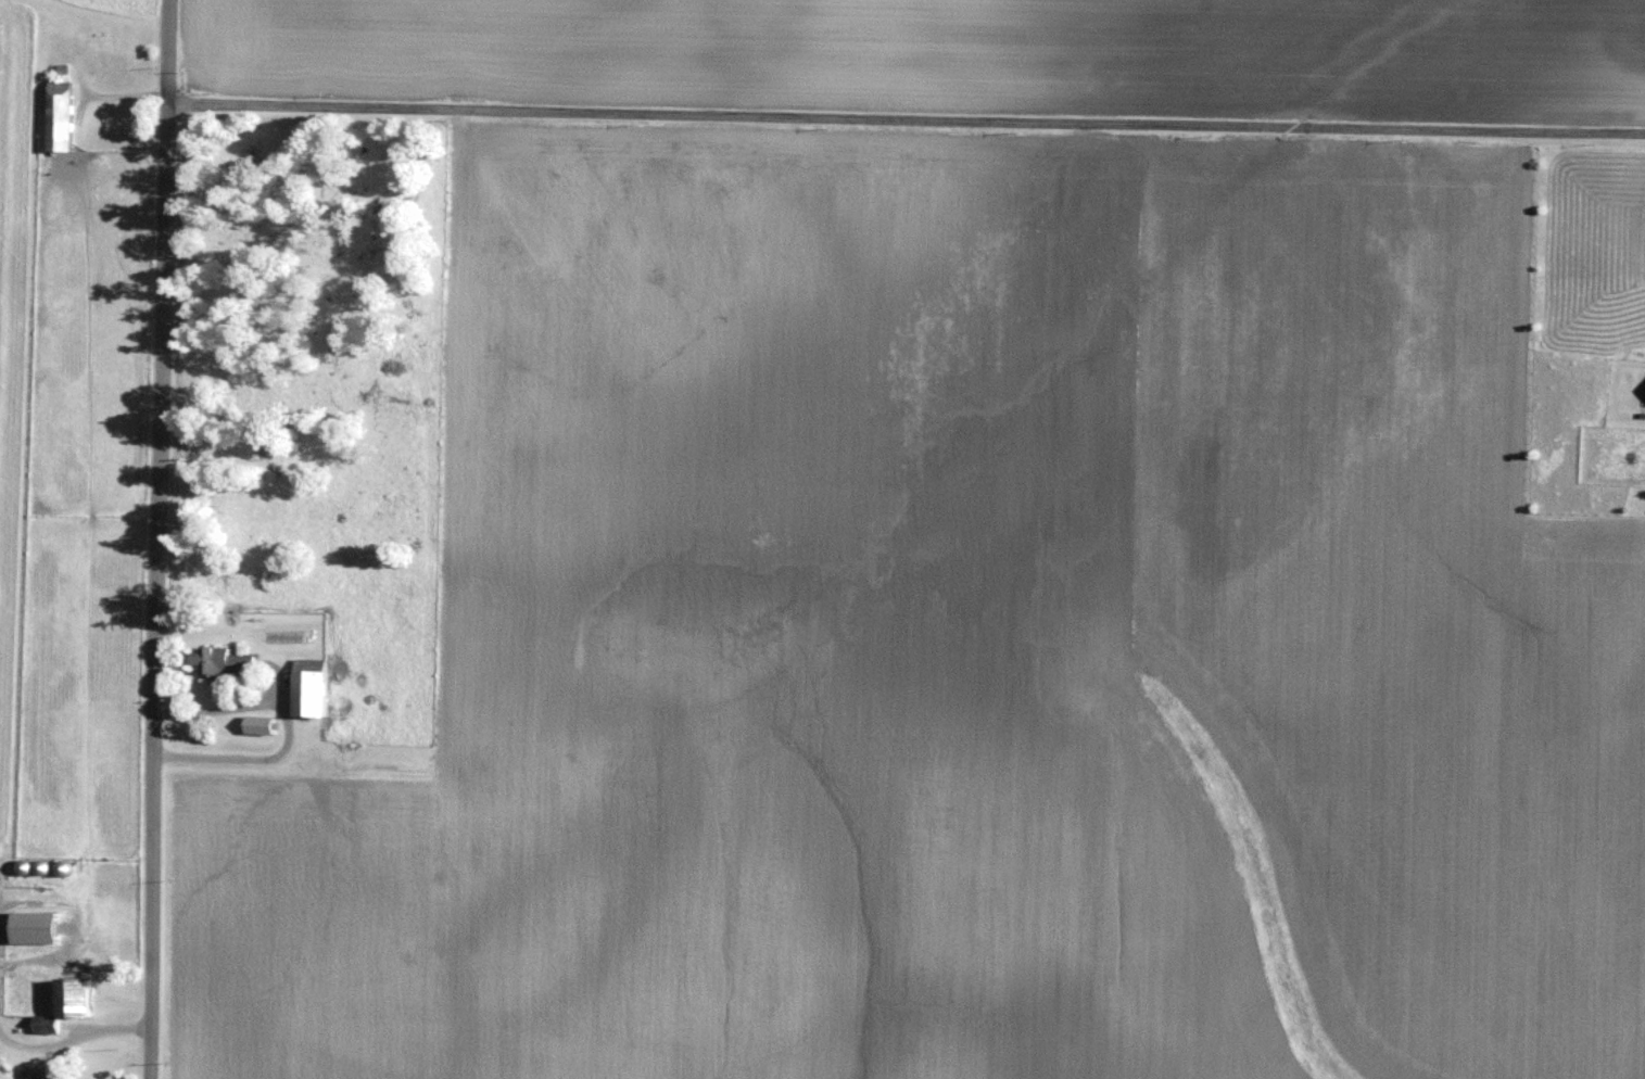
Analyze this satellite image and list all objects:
building: (65, 113)
road: (907, 115)
road: (160, 539)
building: (222, 657)
road: (288, 726)
road: (12, 905)
building: (42, 925)
road: (74, 1037)

